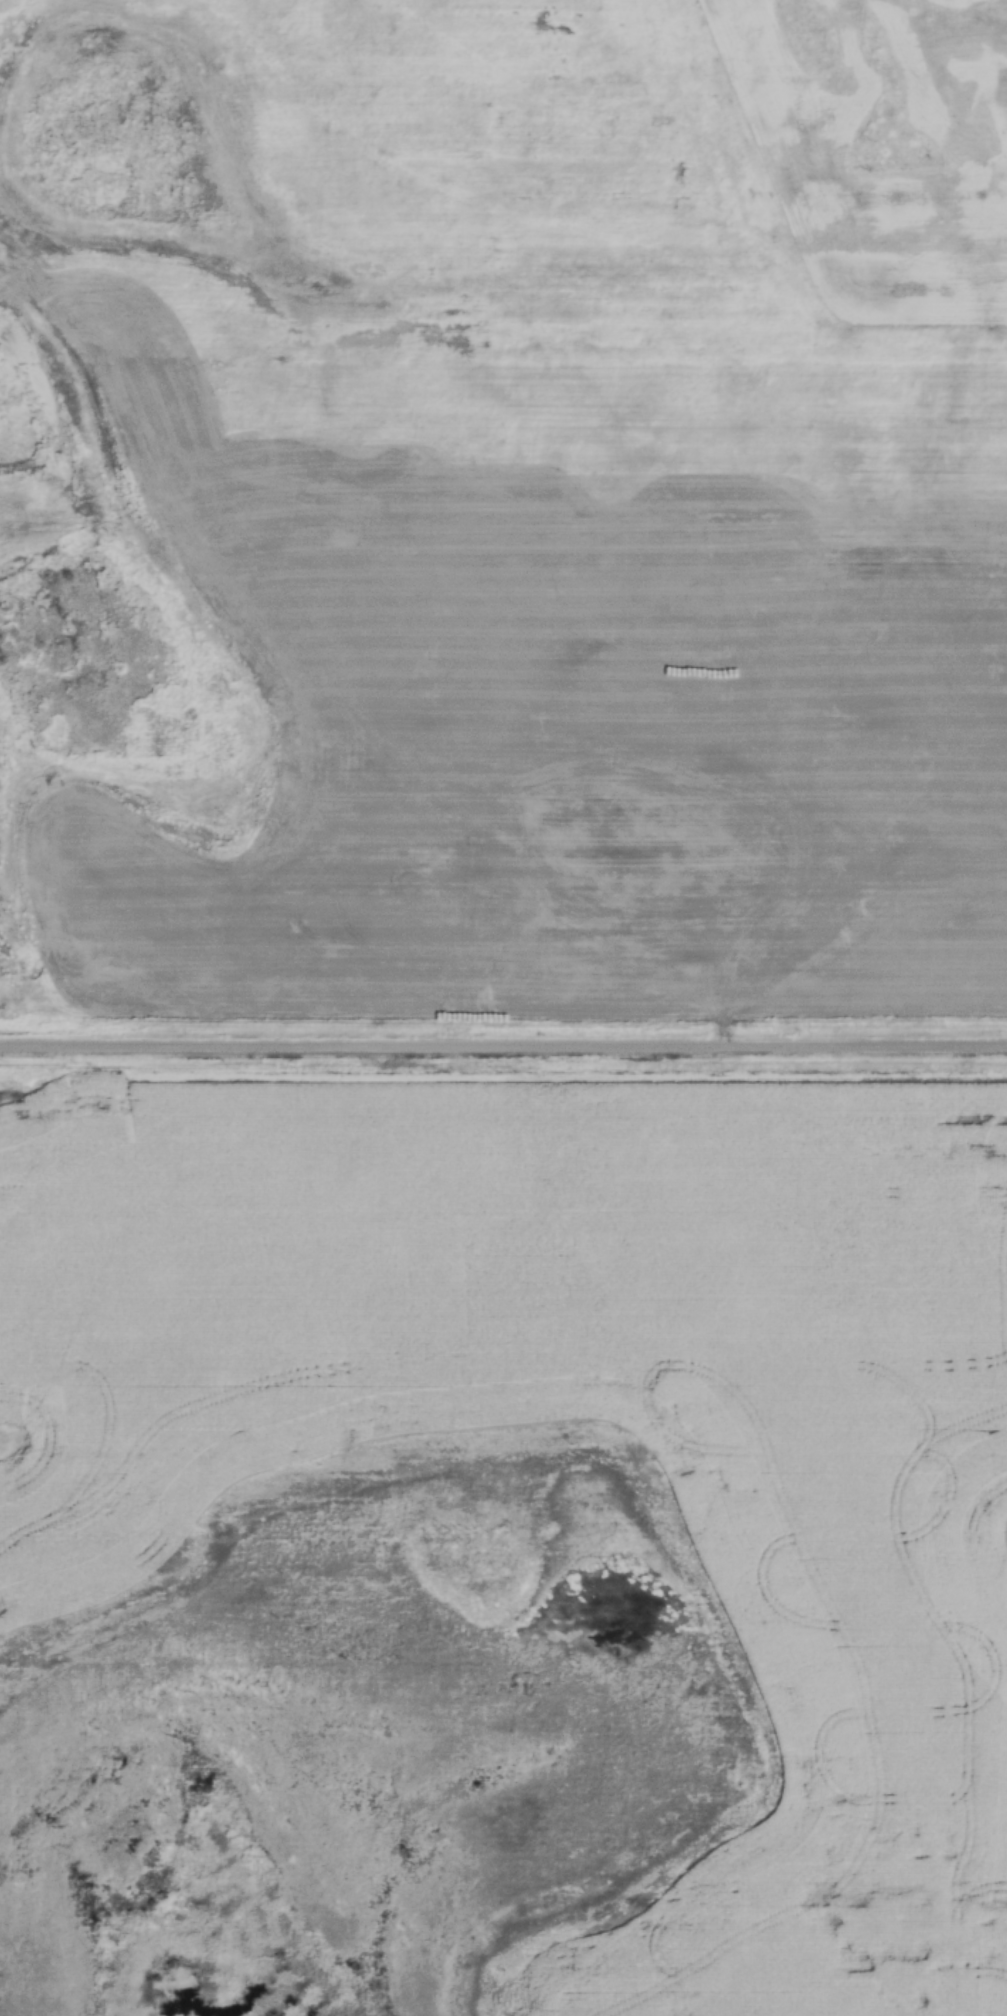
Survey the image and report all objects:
road: (503, 1043)

